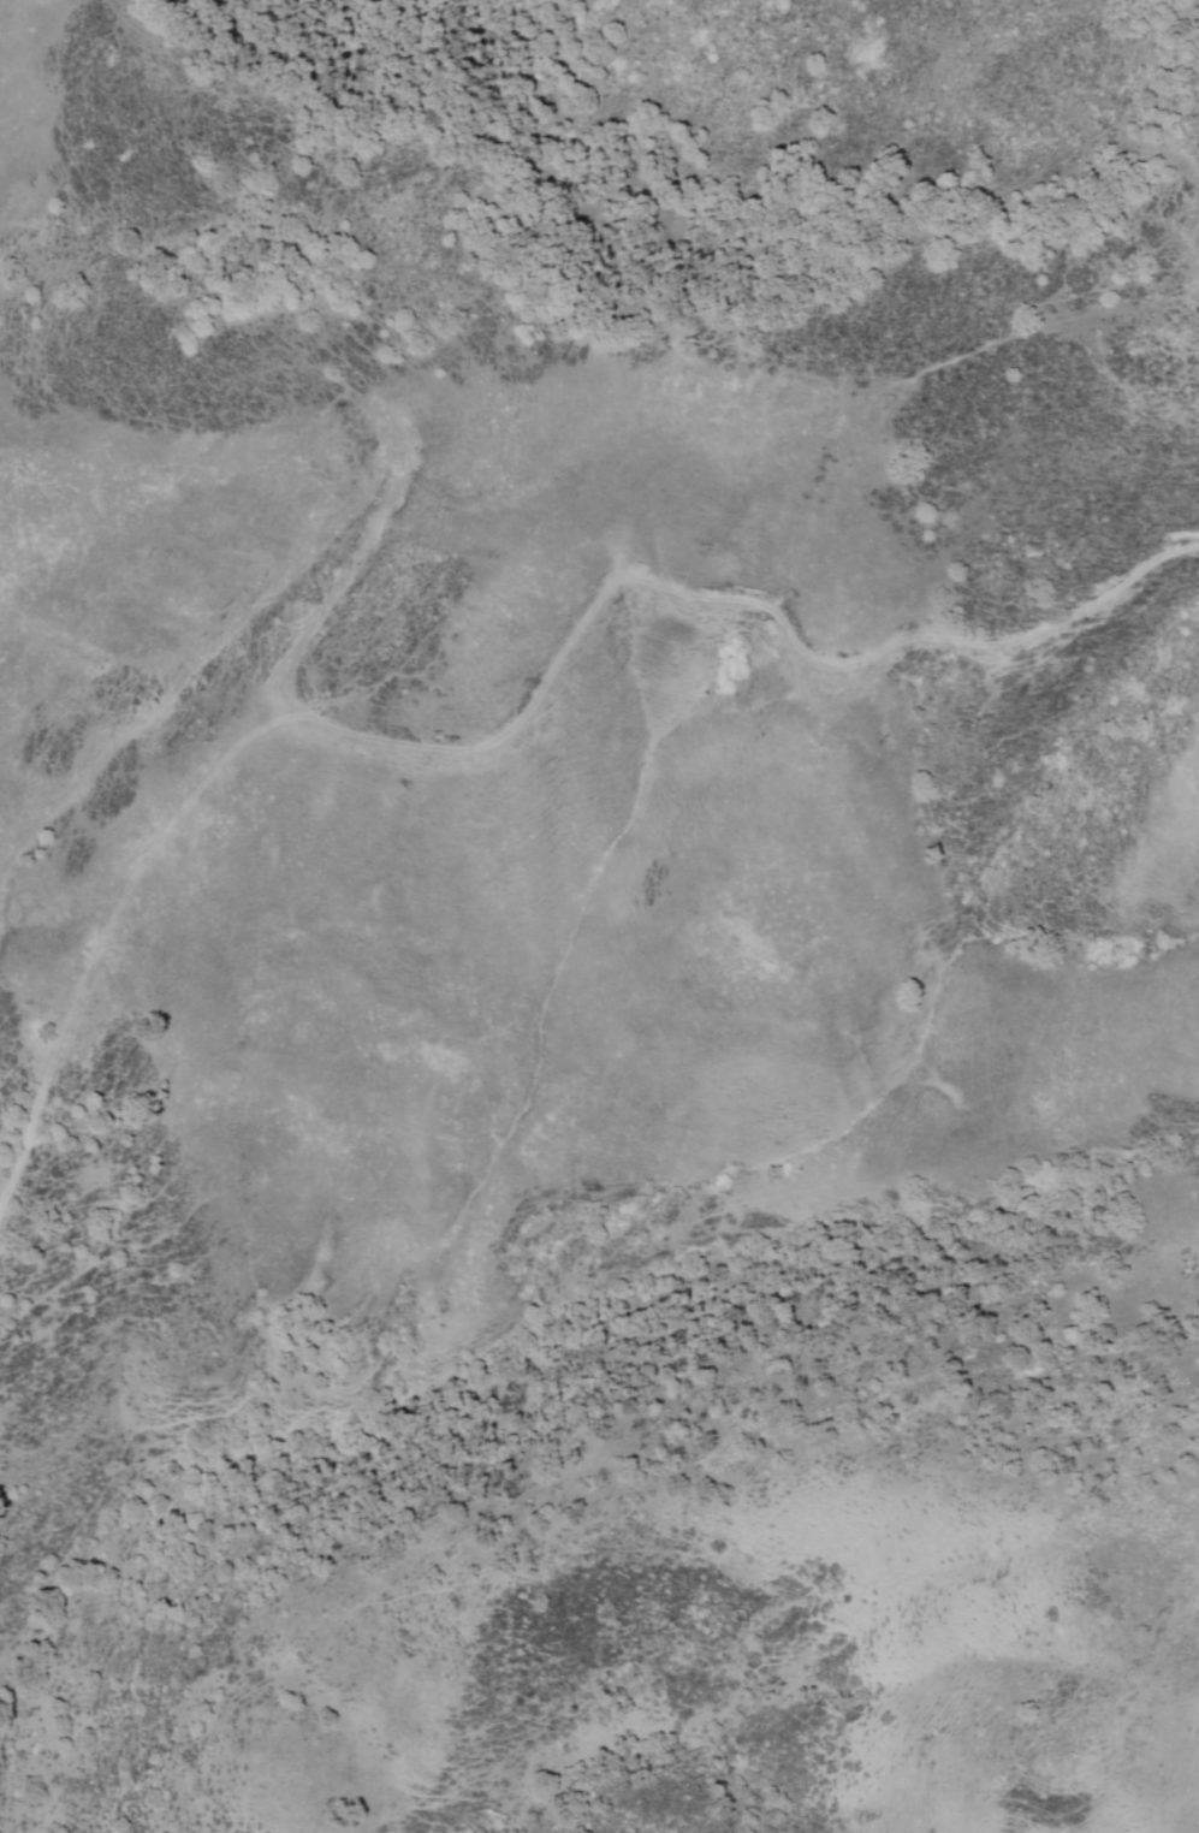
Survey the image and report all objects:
road: (440, 743)

